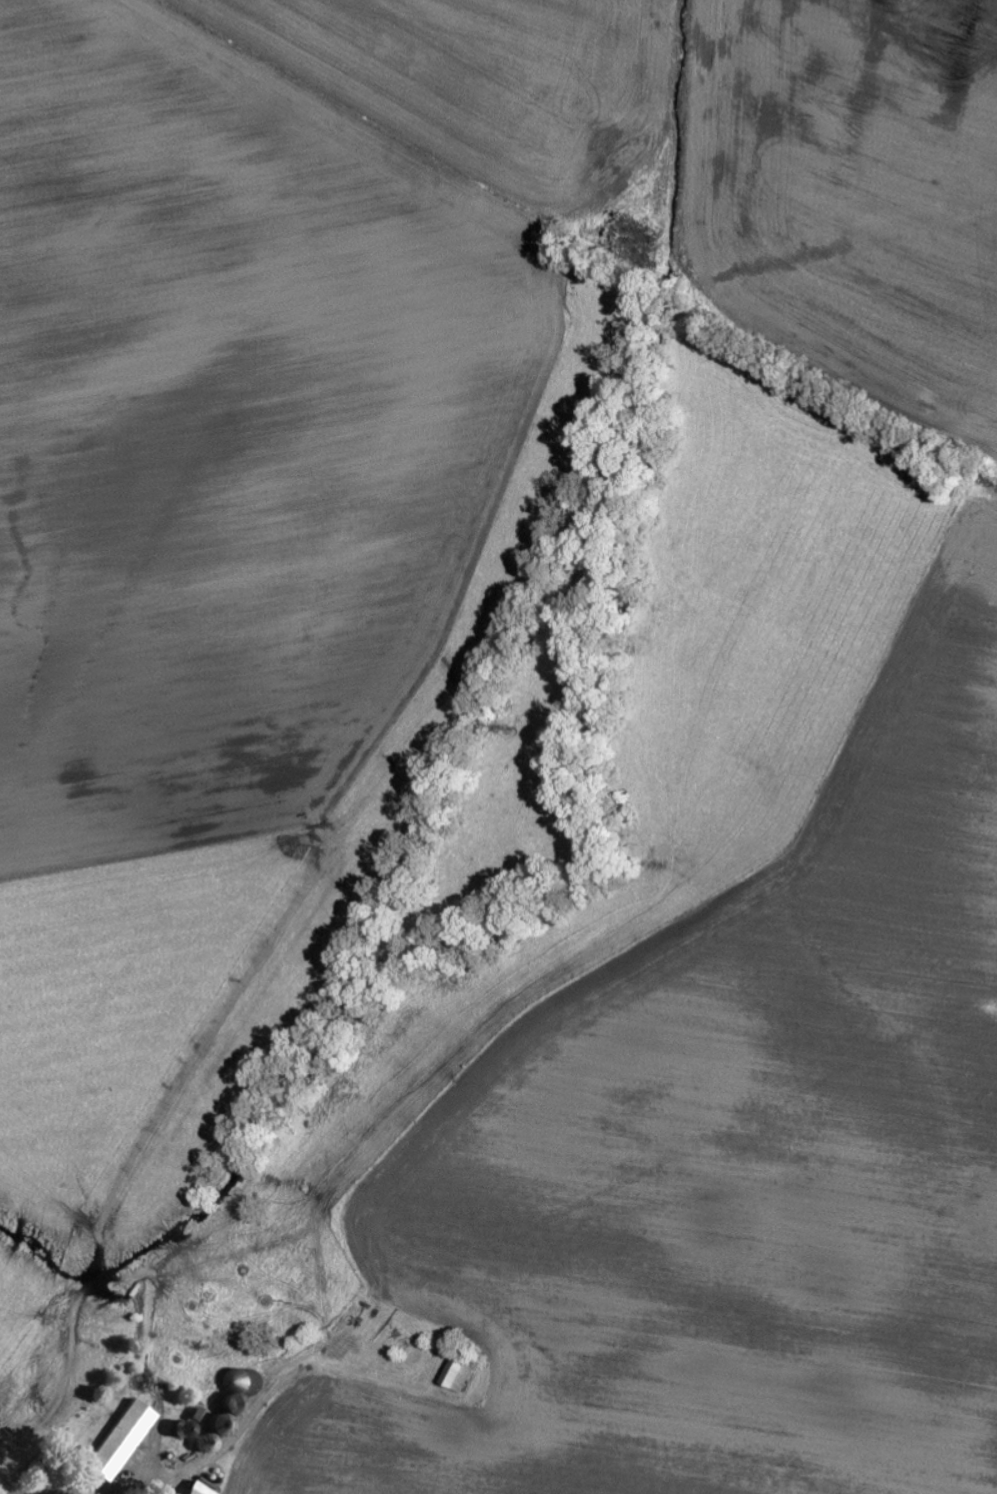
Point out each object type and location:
building: (460, 1375)
building: (120, 1440)
road: (107, 1489)
building: (197, 1489)
road: (5, 1492)

